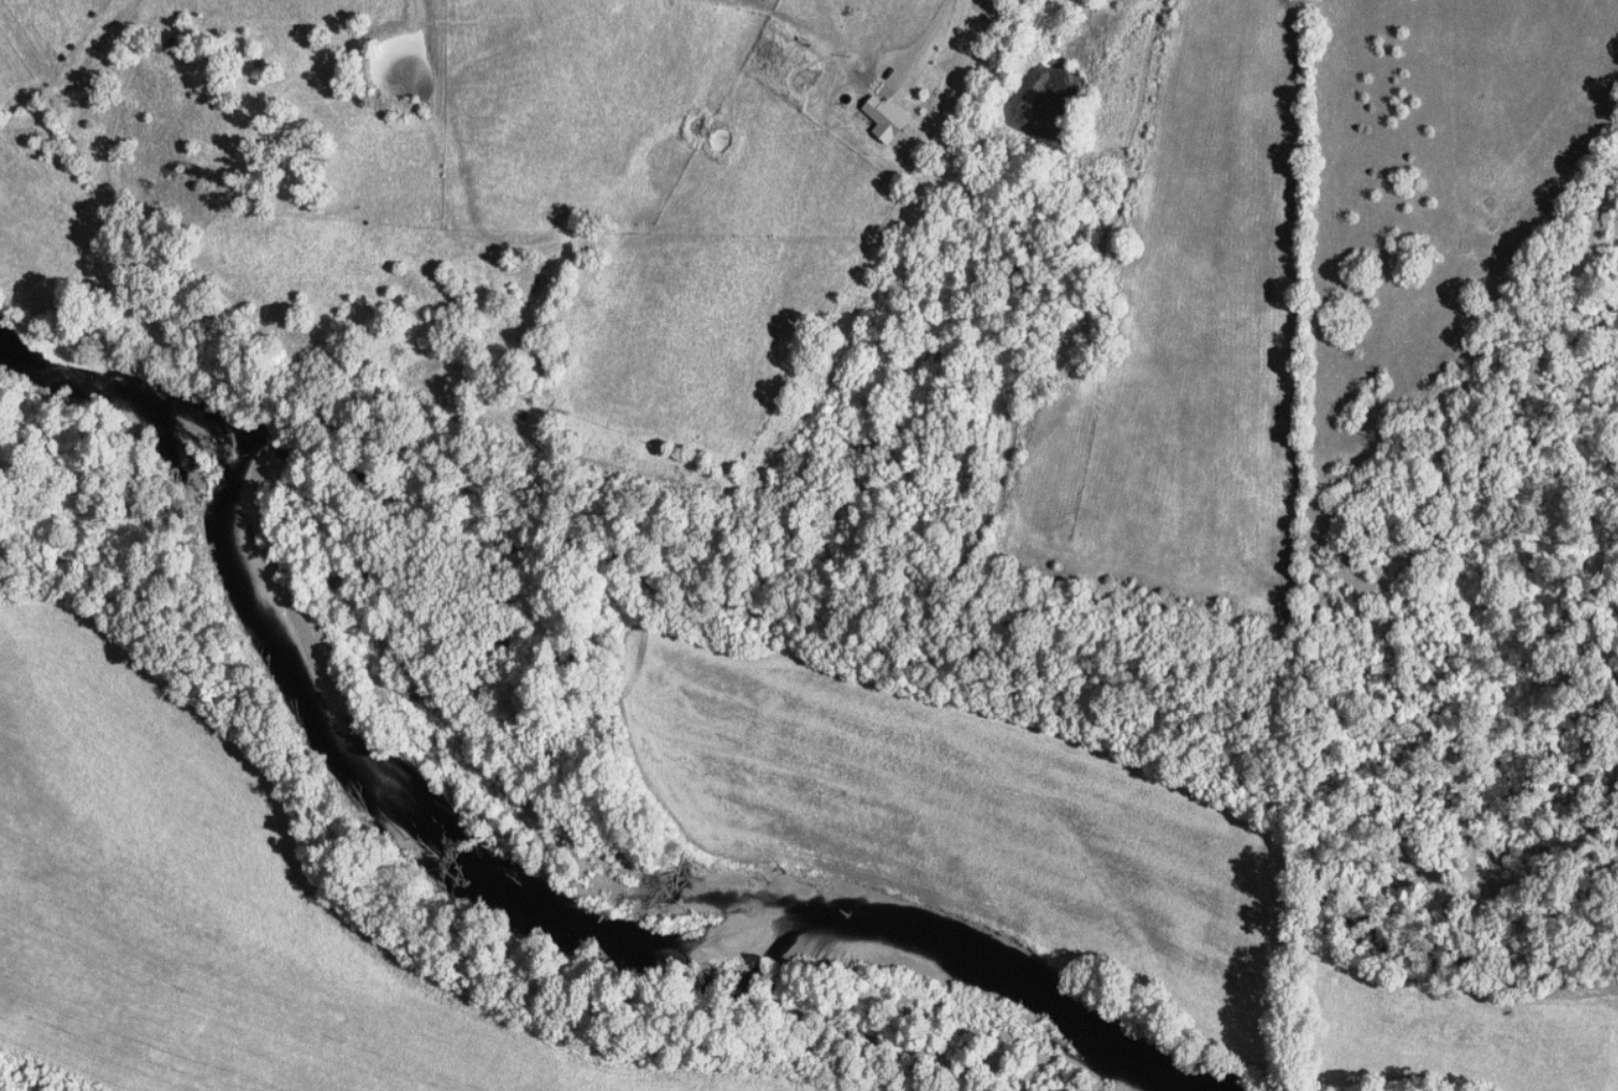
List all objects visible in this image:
road: (925, 41)
road: (81, 81)
building: (894, 116)
river: (491, 886)

